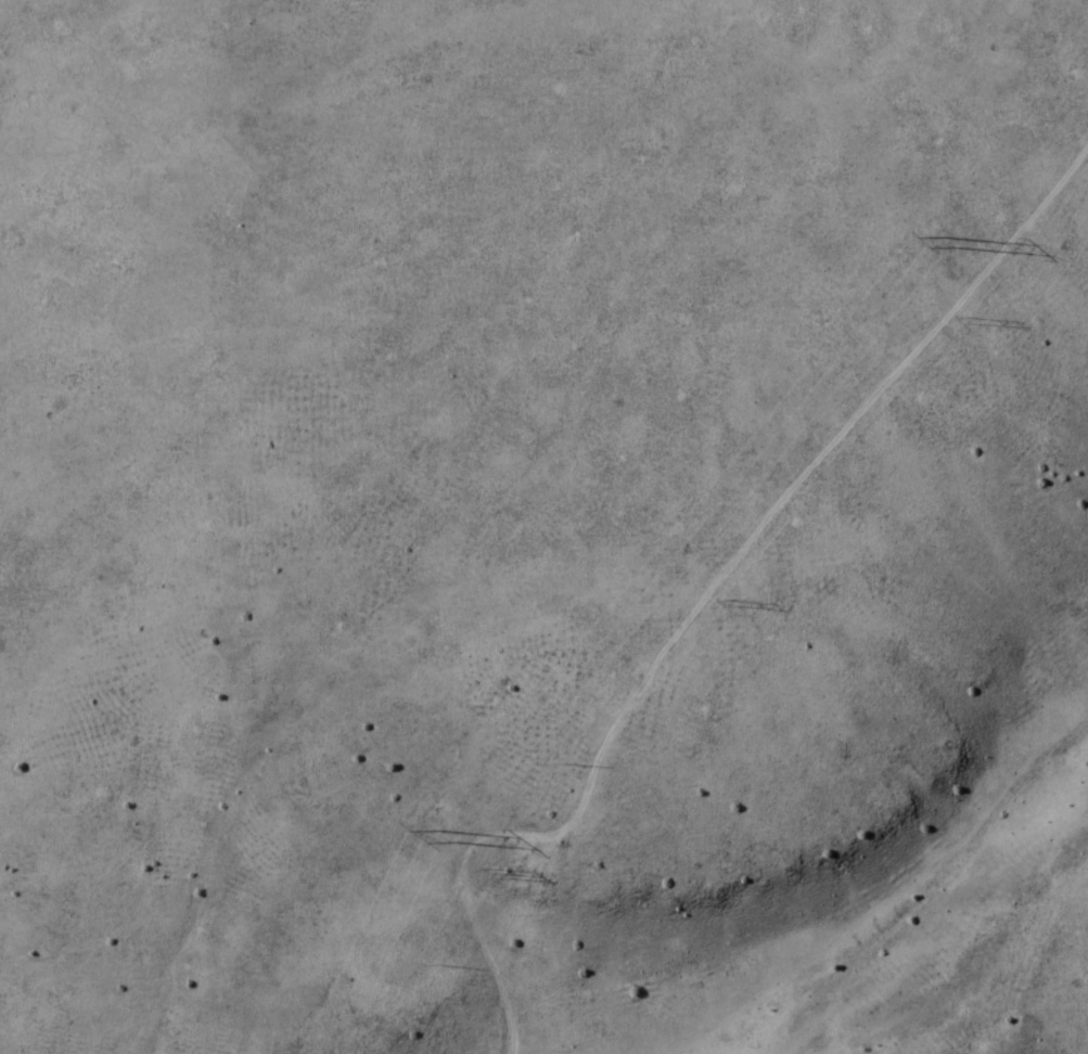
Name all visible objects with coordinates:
power tower: (950, 246)
road: (776, 504)
road: (669, 510)
power tower: (446, 840)
power tower: (505, 879)
road: (486, 947)

